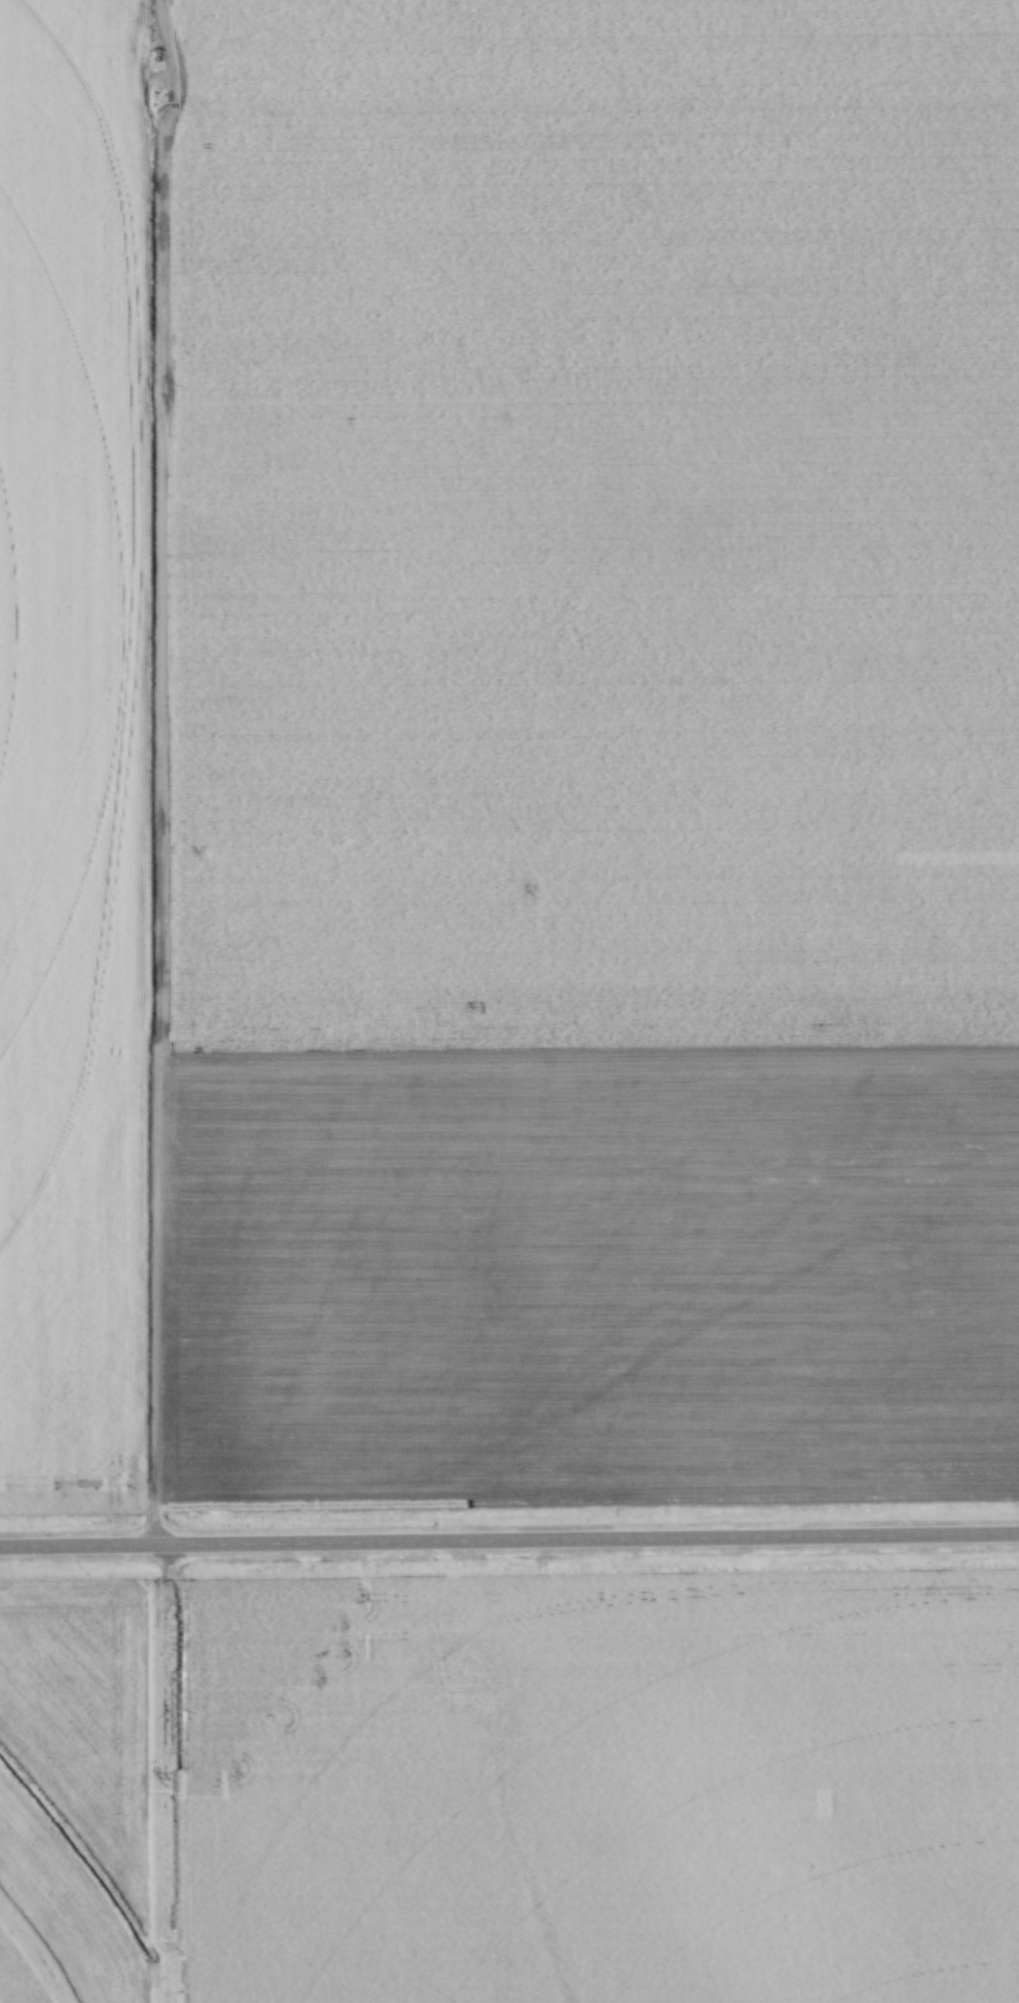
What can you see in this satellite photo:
road: (74, 395)
crop: (509, 751)
road: (150, 769)
road: (509, 1541)
crop: (511, 1790)

